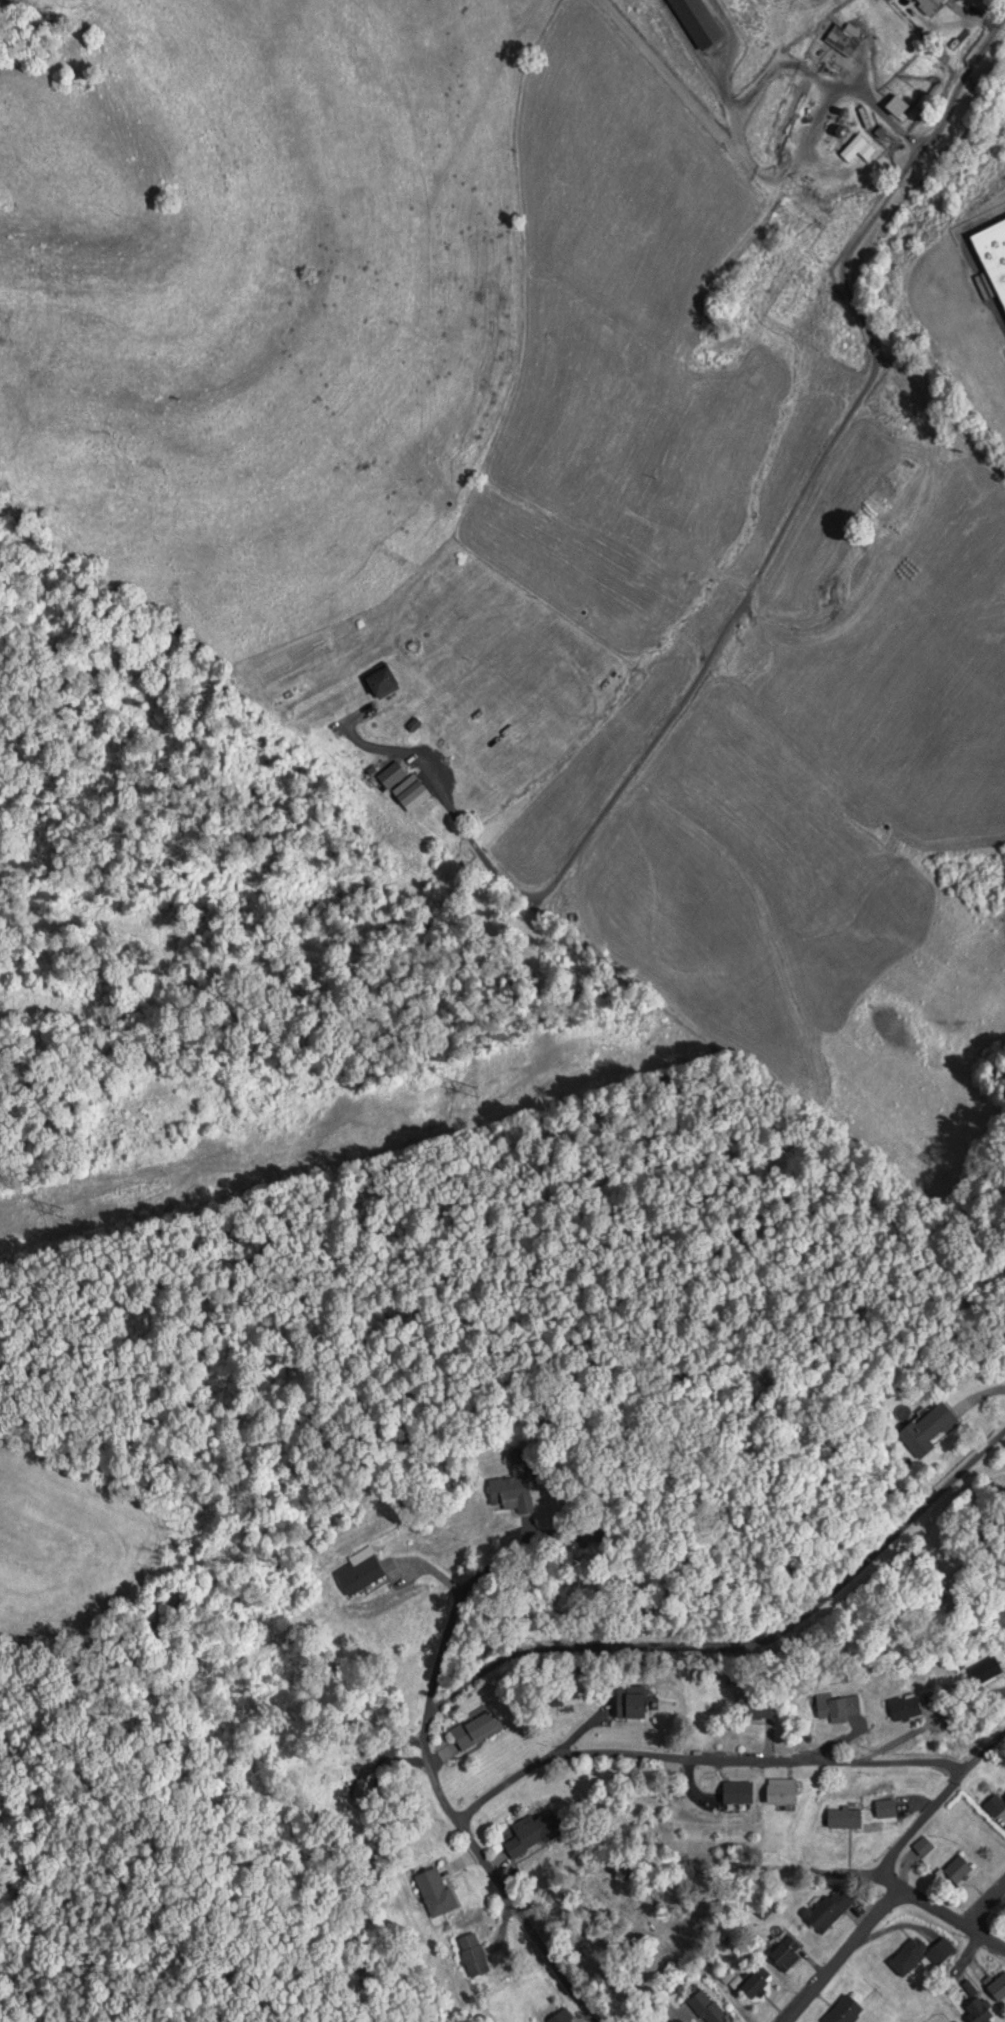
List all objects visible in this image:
building: (928, 5)
building: (695, 22)
building: (835, 50)
building: (895, 104)
building: (787, 124)
building: (856, 149)
building: (992, 256)
road: (983, 285)
road: (778, 537)
building: (384, 677)
road: (368, 746)
building: (392, 772)
power tower: (394, 1115)
power tower: (79, 1208)
building: (927, 1429)
building: (511, 1486)
building: (362, 1569)
road: (798, 1617)
building: (985, 1671)
road: (476, 1695)
building: (629, 1706)
building: (834, 1707)
building: (903, 1708)
building: (758, 1710)
building: (475, 1729)
road: (700, 1756)
road: (440, 1779)
building: (779, 1790)
building: (736, 1791)
building: (994, 1806)
building: (884, 1808)
road: (932, 1809)
building: (842, 1817)
building: (530, 1833)
building: (922, 1846)
building: (957, 1870)
building: (435, 1892)
road: (985, 1903)
building: (828, 1908)
road: (954, 1918)
building: (786, 1953)
building: (471, 1954)
building: (919, 1954)
road: (844, 1957)
building: (726, 1975)
building: (754, 1983)
building: (997, 1987)
building: (843, 2011)
building: (976, 2011)
building: (720, 2019)

